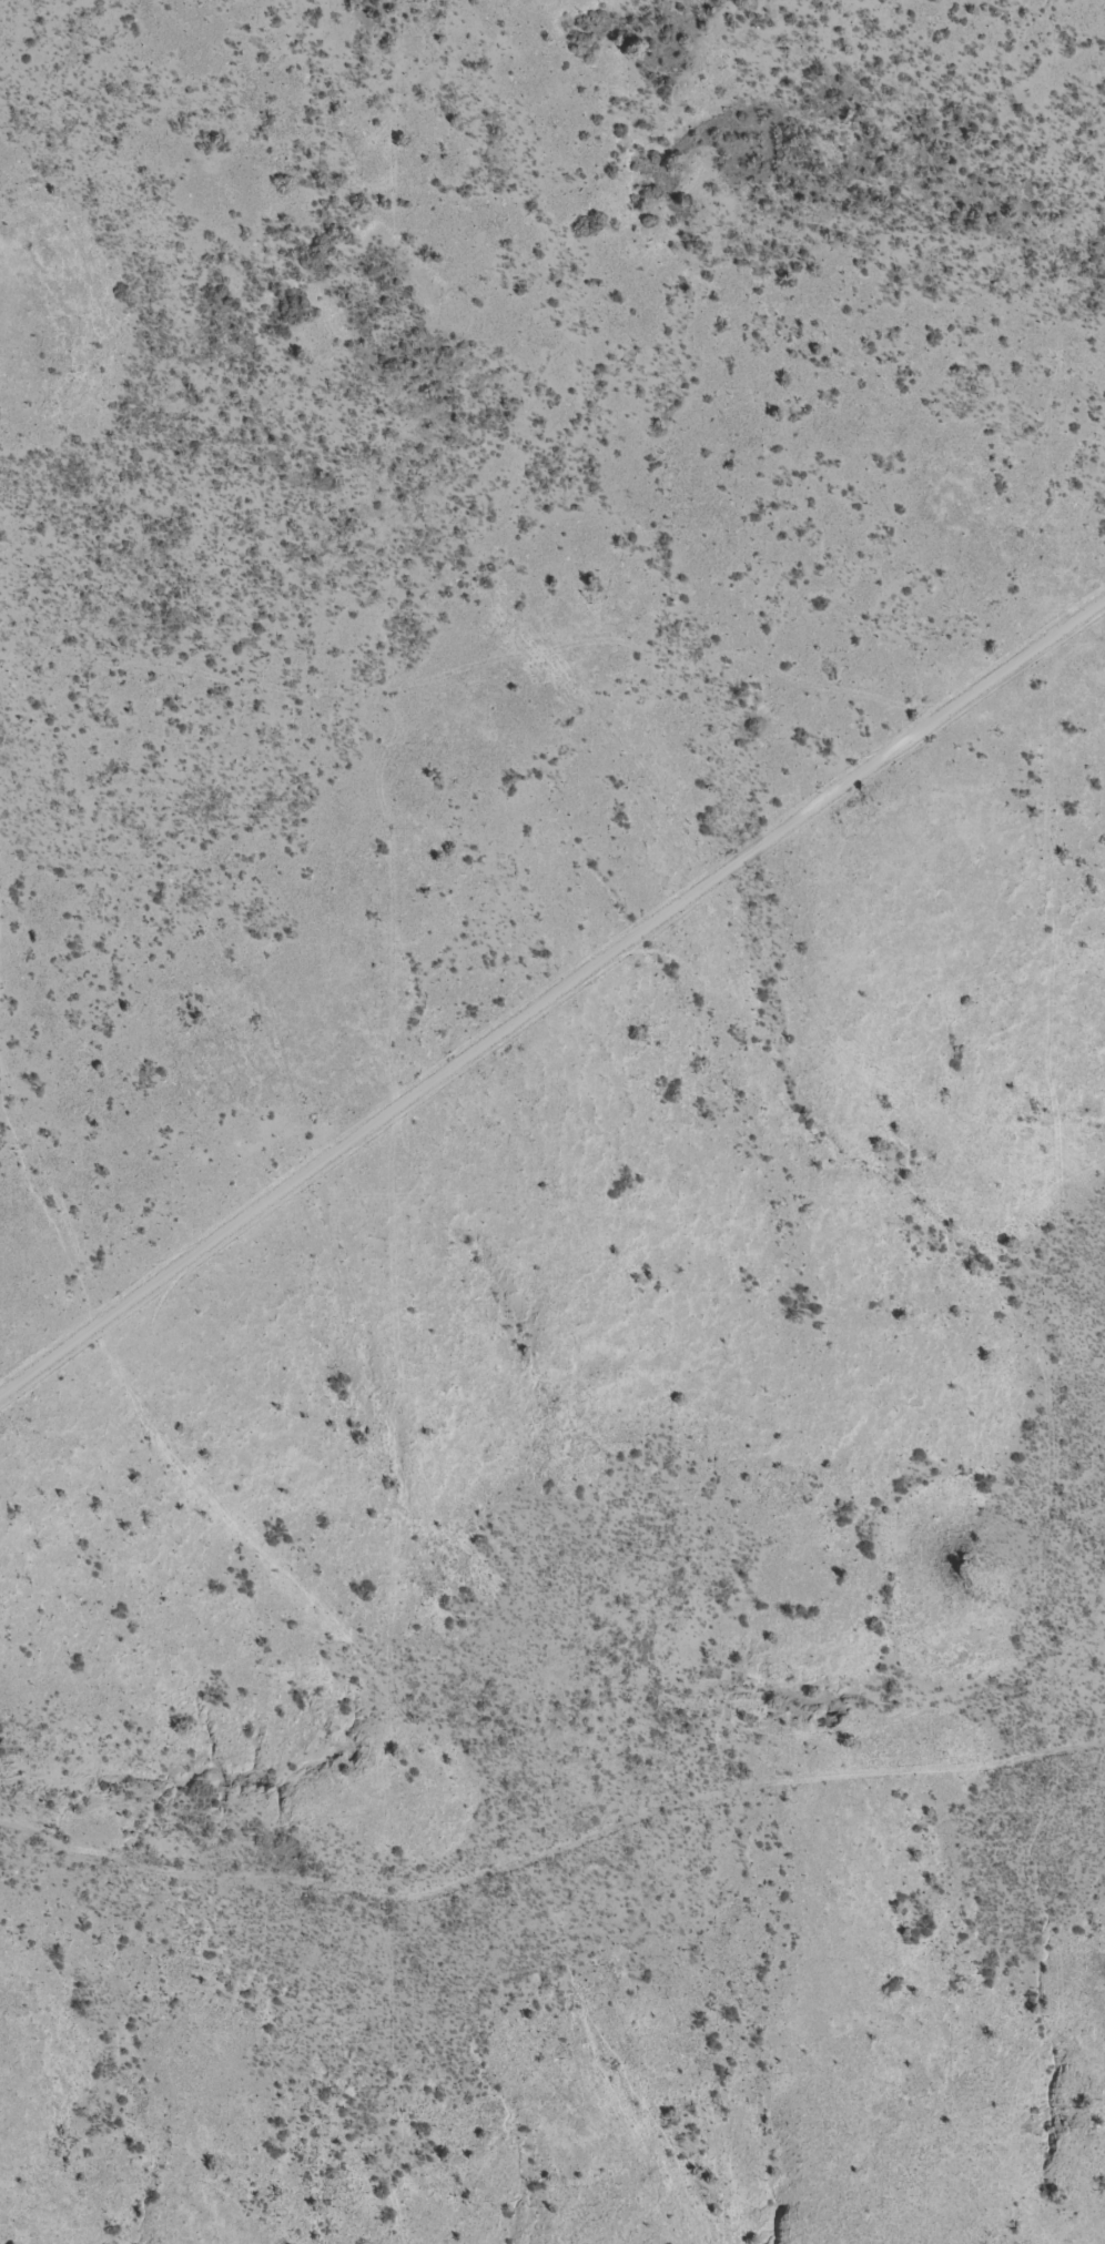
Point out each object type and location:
road: (11, 746)

